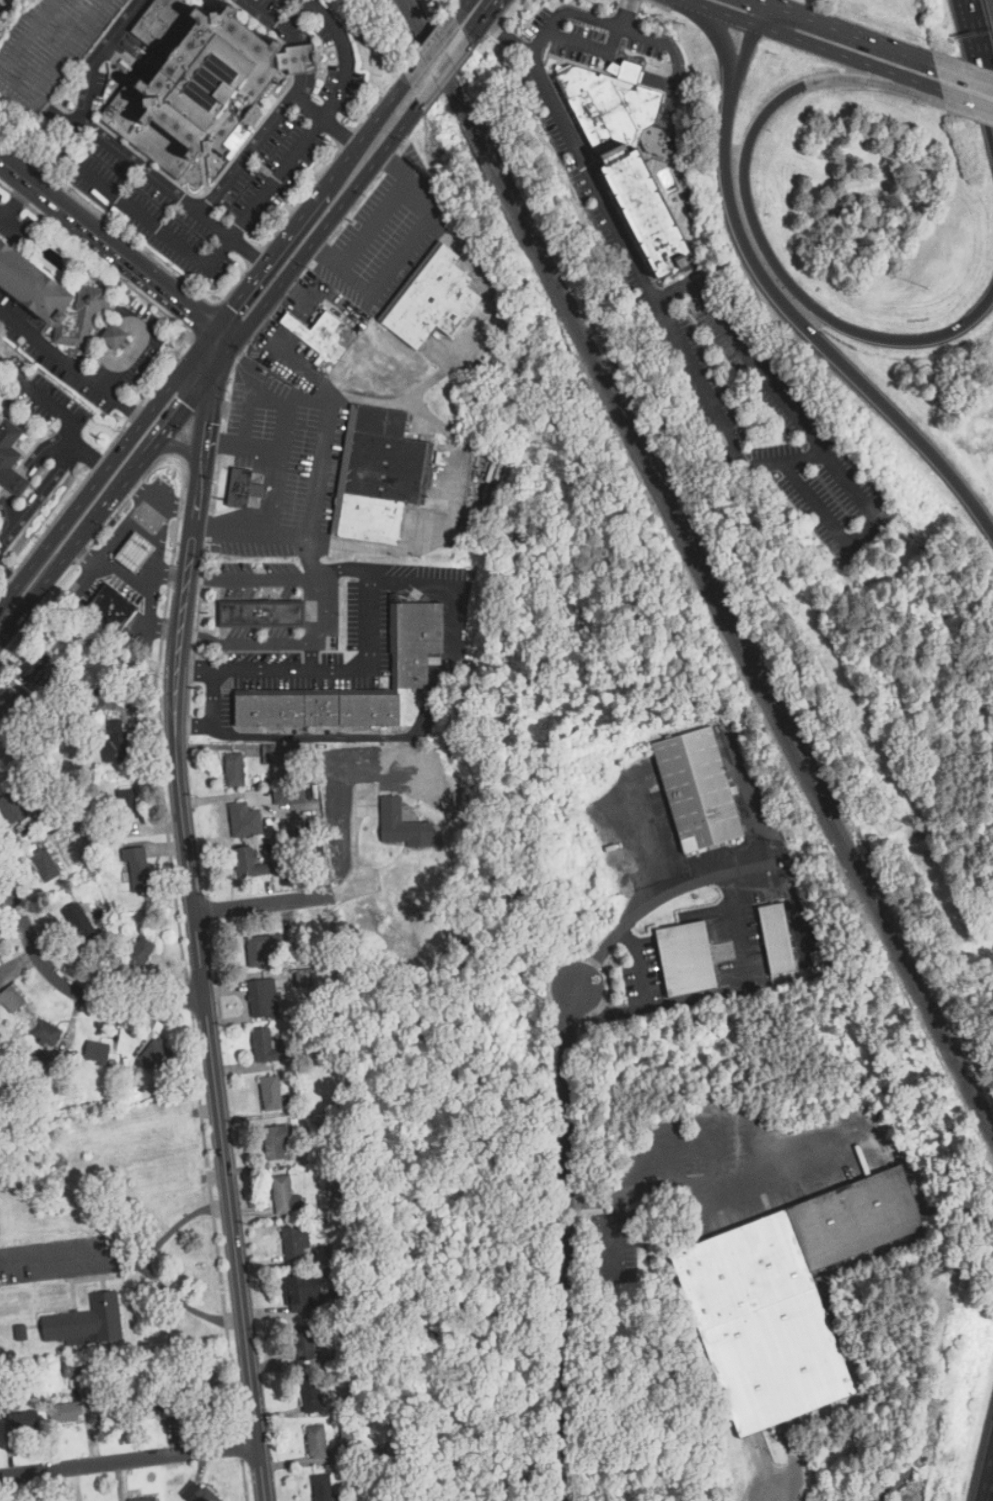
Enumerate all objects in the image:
road: (686, 2)
road: (461, 8)
road: (757, 14)
road: (722, 15)
road: (482, 19)
road: (295, 21)
road: (843, 31)
road: (508, 35)
road: (723, 40)
building: (49, 47)
parking garage: (49, 47)
road: (431, 48)
road: (665, 53)
road: (574, 55)
road: (978, 55)
road: (304, 57)
road: (742, 57)
road: (847, 59)
road: (443, 68)
road: (628, 71)
road: (964, 73)
building: (194, 78)
road: (302, 83)
road: (968, 102)
road: (385, 106)
road: (557, 115)
road: (319, 123)
road: (402, 123)
road: (88, 124)
road: (339, 130)
road: (258, 139)
road: (59, 149)
road: (380, 153)
building: (633, 154)
road: (326, 181)
road: (17, 200)
road: (345, 201)
road: (149, 221)
road: (371, 223)
road: (14, 225)
road: (232, 238)
road: (762, 242)
road: (106, 245)
road: (278, 247)
road: (404, 251)
road: (298, 264)
street lamp: (927, 287)
road: (239, 296)
building: (53, 297)
building: (433, 299)
traffic signals: (232, 307)
traffic signals: (190, 311)
road: (256, 313)
building: (314, 329)
building: (115, 334)
road: (809, 334)
road: (222, 336)
road: (127, 361)
road: (72, 365)
road: (252, 393)
road: (186, 402)
traffic signals: (185, 404)
road: (291, 405)
road: (60, 408)
traffic signals: (208, 423)
road: (435, 426)
road: (323, 435)
road: (798, 439)
road: (244, 441)
road: (183, 450)
building: (11, 457)
road: (107, 468)
building: (385, 472)
road: (838, 473)
road: (49, 481)
road: (116, 488)
building: (245, 488)
road: (277, 491)
road: (807, 496)
road: (157, 501)
road: (268, 533)
road: (113, 543)
road: (157, 550)
building: (134, 553)
railway: (700, 565)
road: (172, 574)
road: (46, 578)
road: (7, 583)
road: (150, 599)
building: (113, 608)
building: (267, 610)
road: (371, 610)
building: (418, 640)
road: (288, 644)
road: (312, 657)
building: (35, 662)
road: (195, 670)
building: (99, 698)
building: (8, 700)
building: (317, 709)
road: (211, 713)
road: (424, 719)
building: (117, 742)
building: (269, 754)
building: (235, 769)
building: (698, 789)
building: (289, 795)
building: (127, 805)
building: (12, 810)
building: (244, 820)
building: (403, 824)
building: (44, 863)
building: (250, 863)
building: (137, 866)
road: (263, 903)
road: (197, 921)
building: (80, 922)
building: (777, 937)
road: (802, 944)
building: (259, 950)
building: (142, 951)
building: (688, 957)
road: (73, 988)
road: (712, 993)
building: (264, 998)
building: (12, 999)
road: (609, 1012)
building: (47, 1032)
building: (263, 1044)
building: (97, 1051)
building: (157, 1053)
building: (272, 1092)
road: (563, 1107)
building: (276, 1141)
road: (664, 1183)
building: (283, 1194)
road: (615, 1233)
building: (297, 1243)
road: (73, 1265)
road: (149, 1270)
building: (306, 1293)
building: (787, 1298)
building: (87, 1322)
building: (303, 1341)
building: (73, 1369)
building: (77, 1382)
building: (311, 1394)
building: (151, 1403)
building: (110, 1407)
building: (61, 1412)
building: (24, 1420)
building: (348, 1430)
building: (317, 1441)
road: (130, 1459)
road: (893, 1481)
road: (989, 1485)
building: (323, 1487)
building: (197, 1493)
building: (144, 1499)

